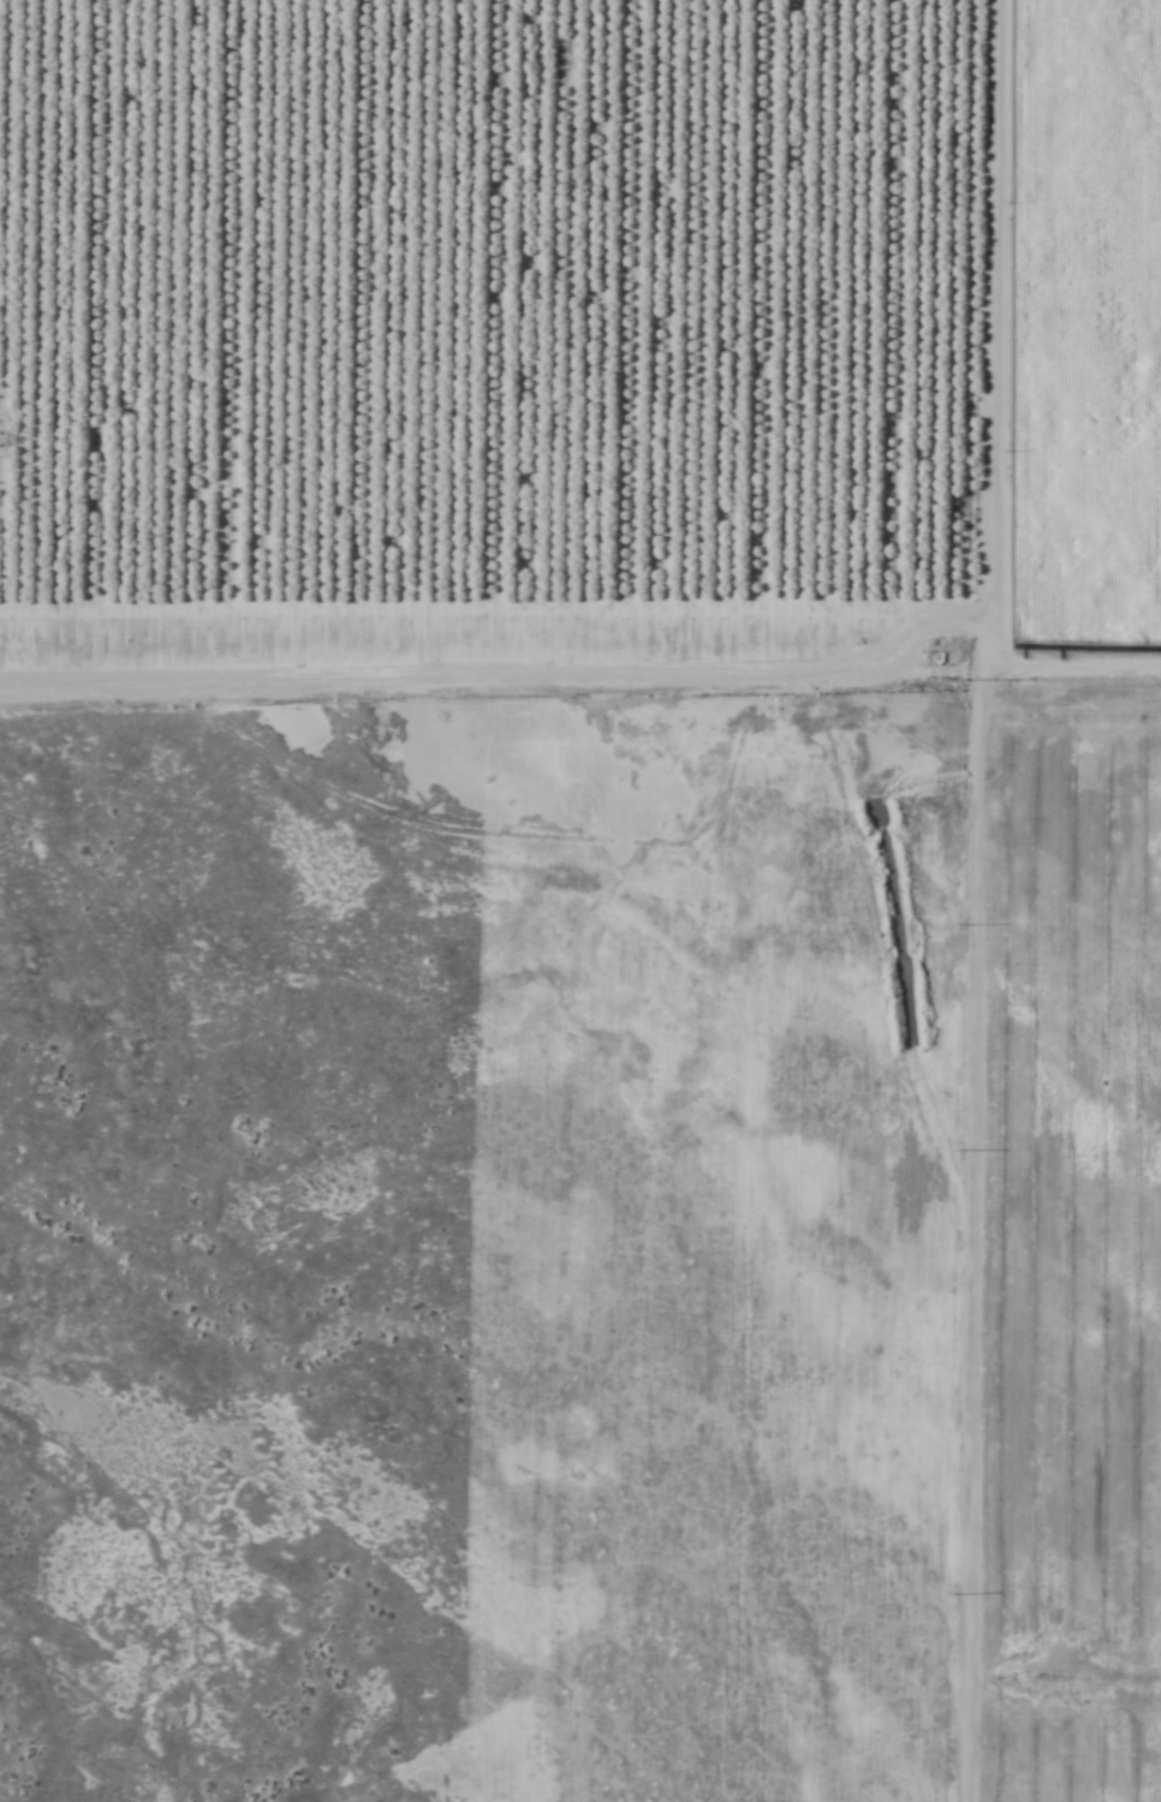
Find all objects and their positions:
road: (1074, 771)
road: (986, 901)

